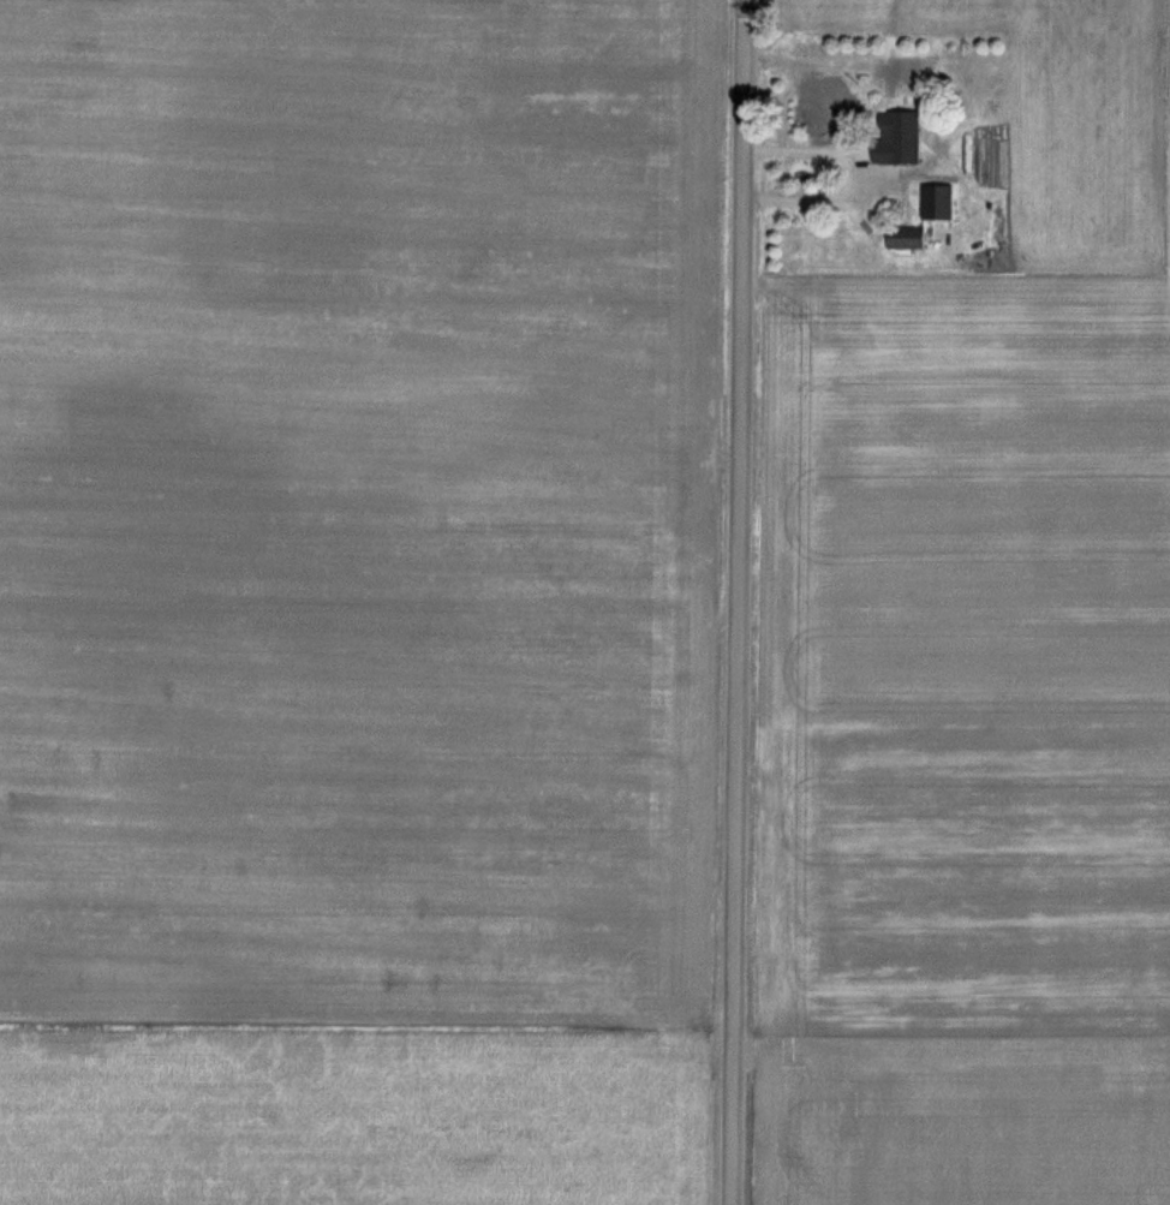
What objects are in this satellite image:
building: (830, 114)
building: (939, 204)
building: (907, 240)
road: (752, 602)

